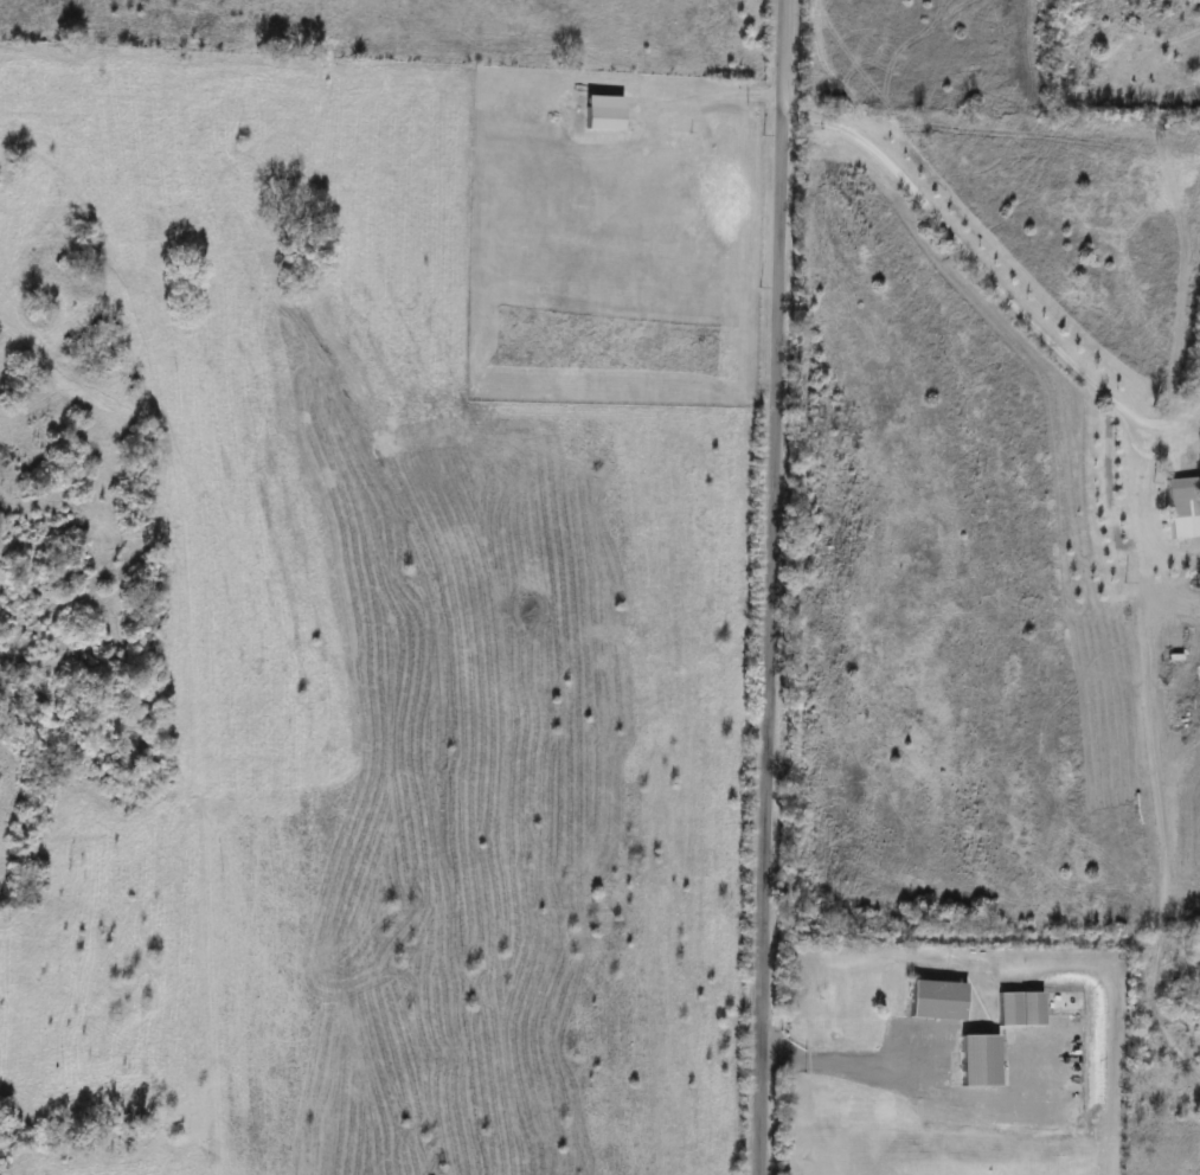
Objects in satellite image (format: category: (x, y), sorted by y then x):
road: (705, 95)
road: (987, 278)
building: (1174, 507)
road: (770, 586)
building: (935, 1000)
building: (1015, 1008)
building: (974, 1060)
road: (851, 1065)

